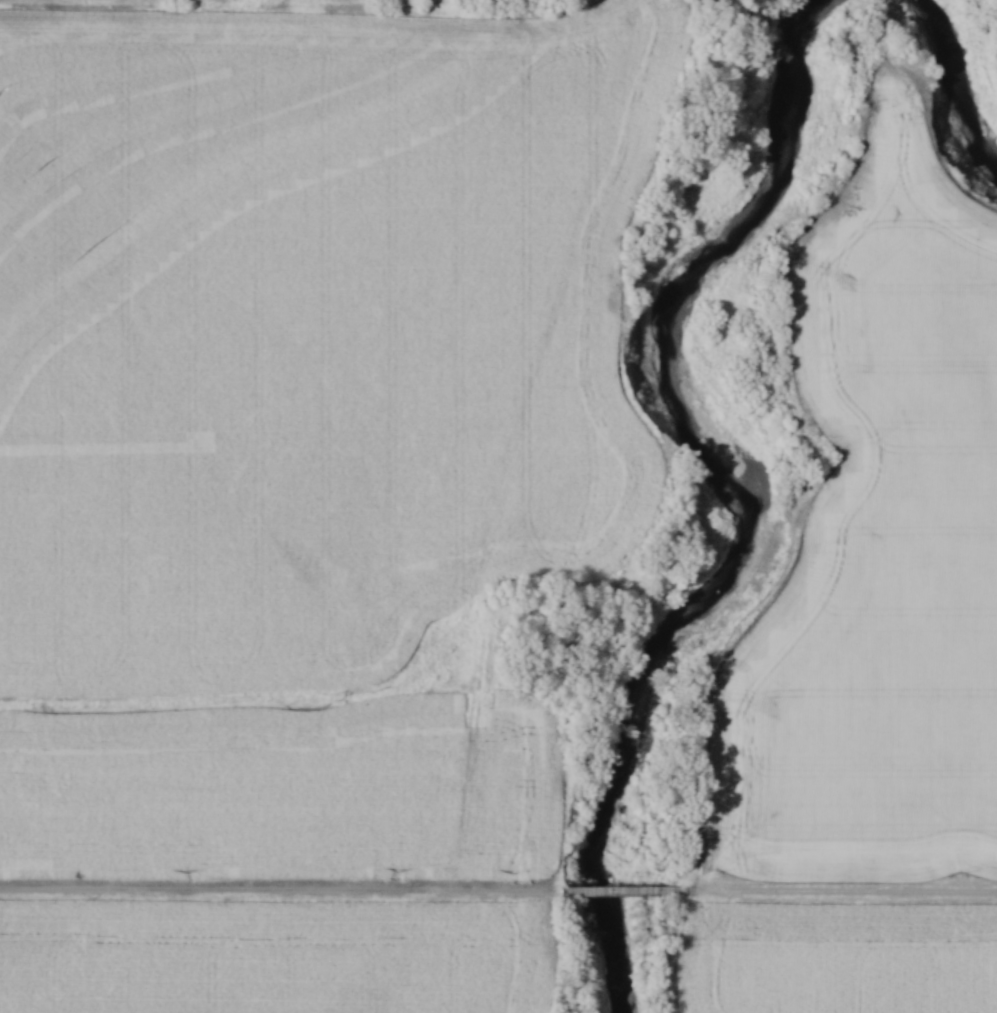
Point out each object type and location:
river: (965, 69)
river: (755, 479)
road: (845, 890)
road: (275, 892)

